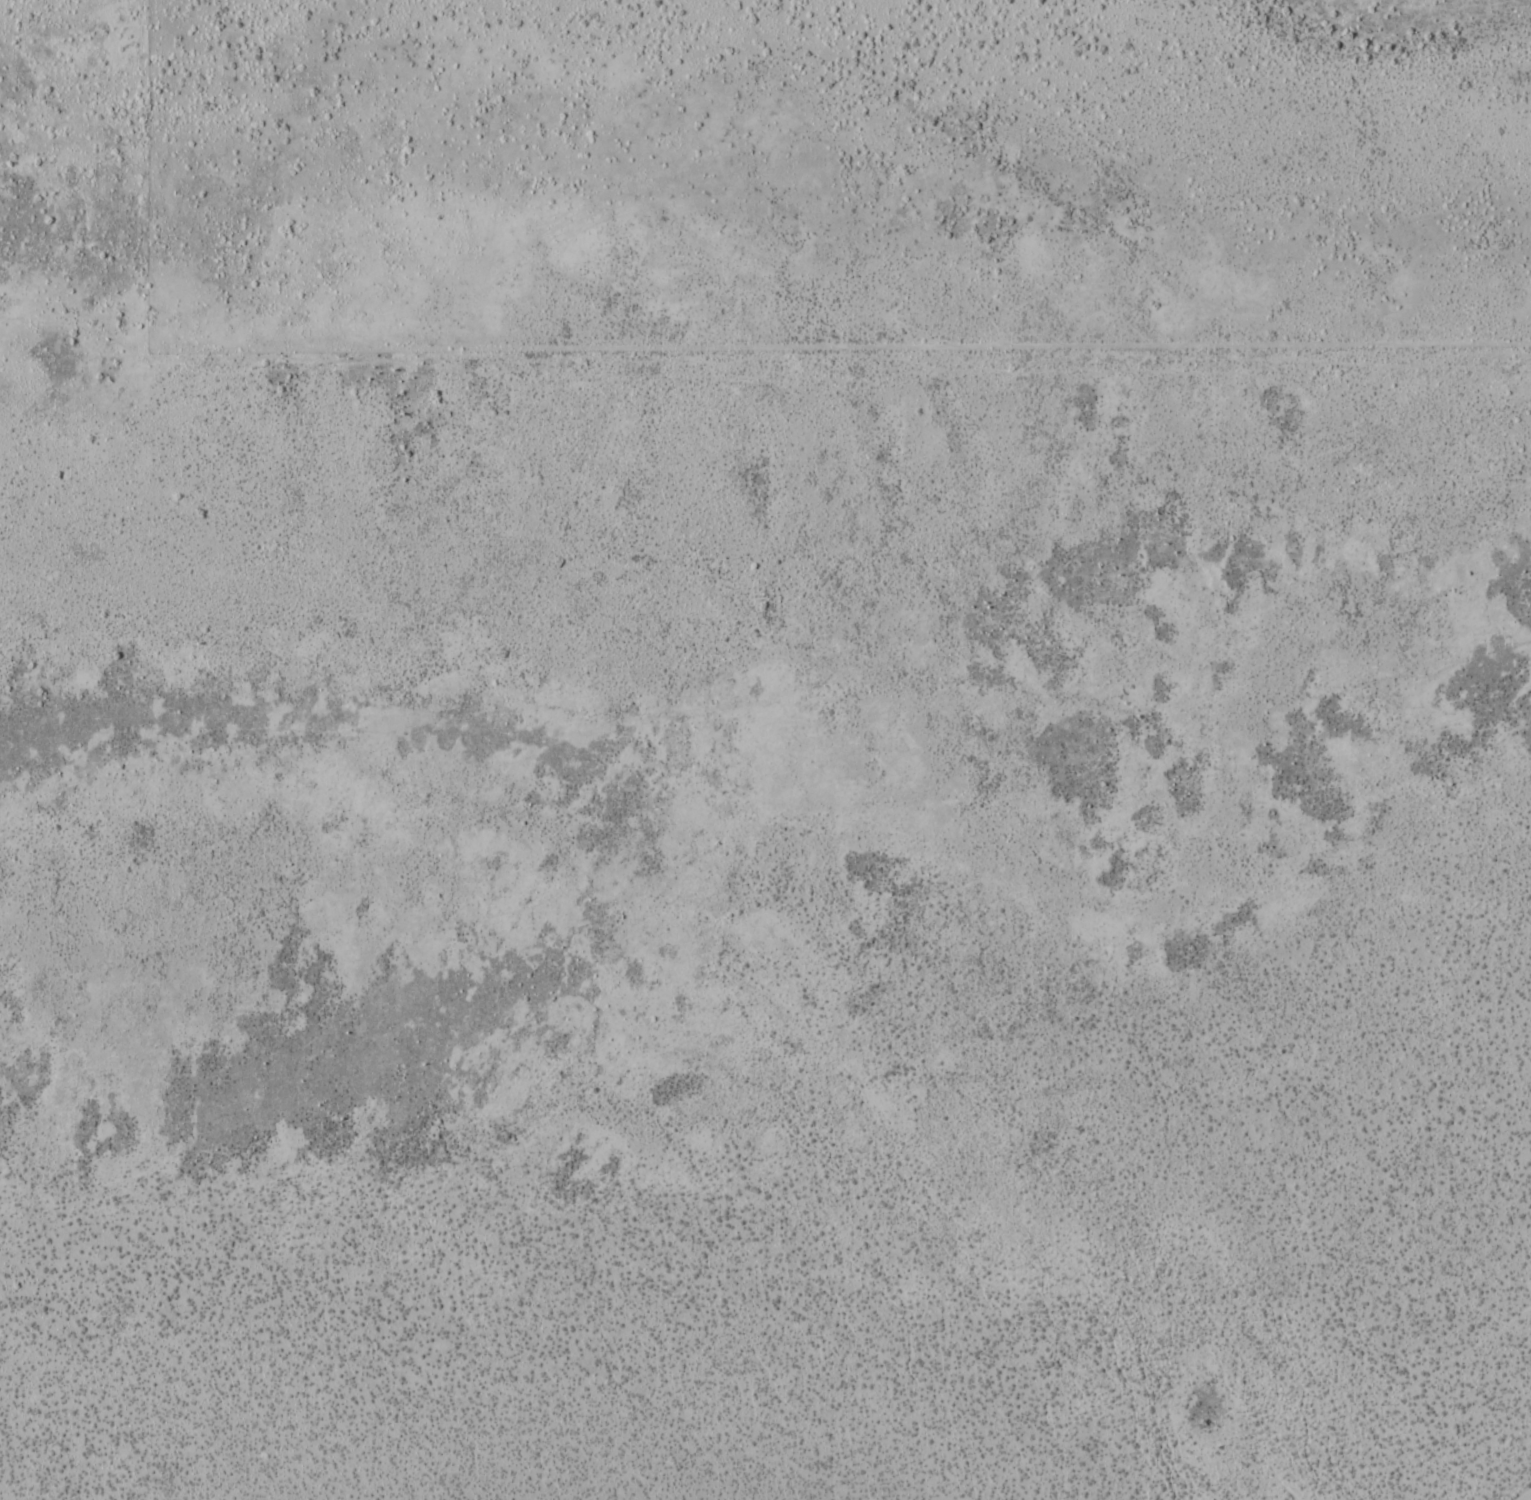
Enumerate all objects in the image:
road: (1520, 1491)

